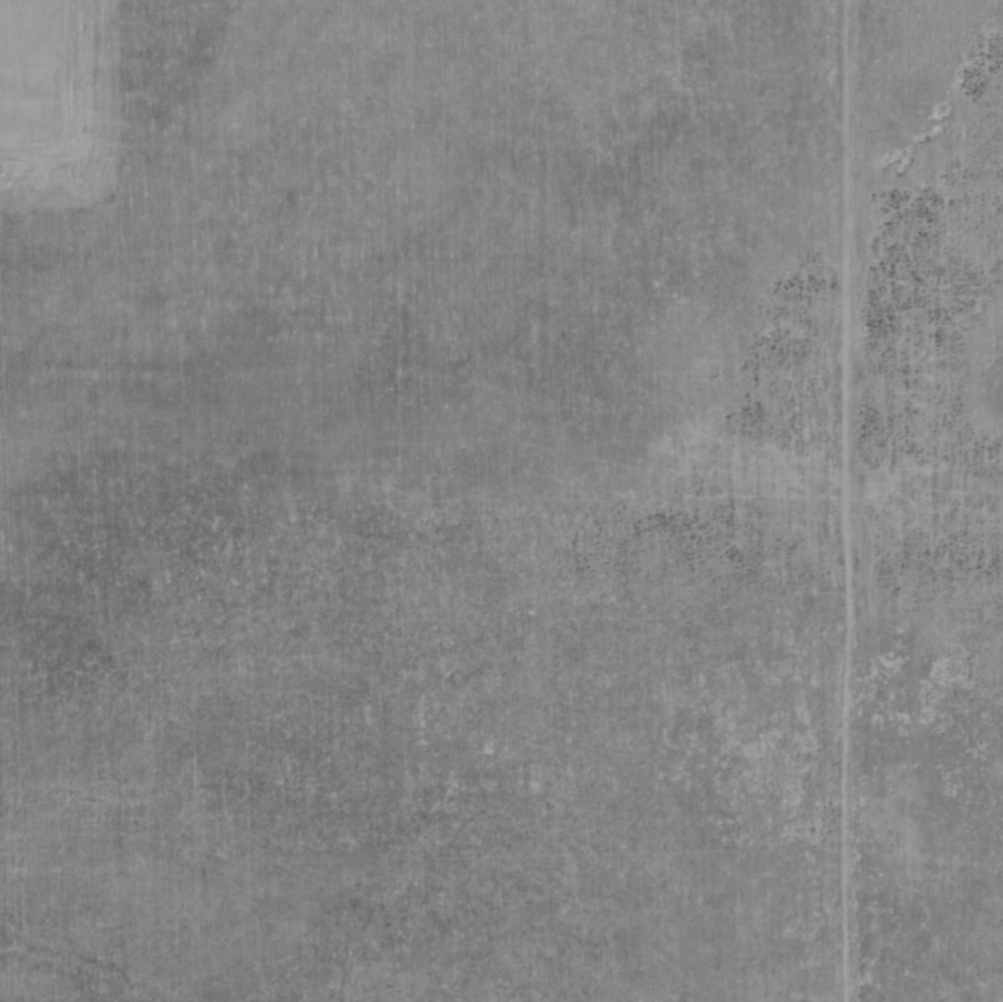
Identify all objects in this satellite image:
road: (823, 501)

